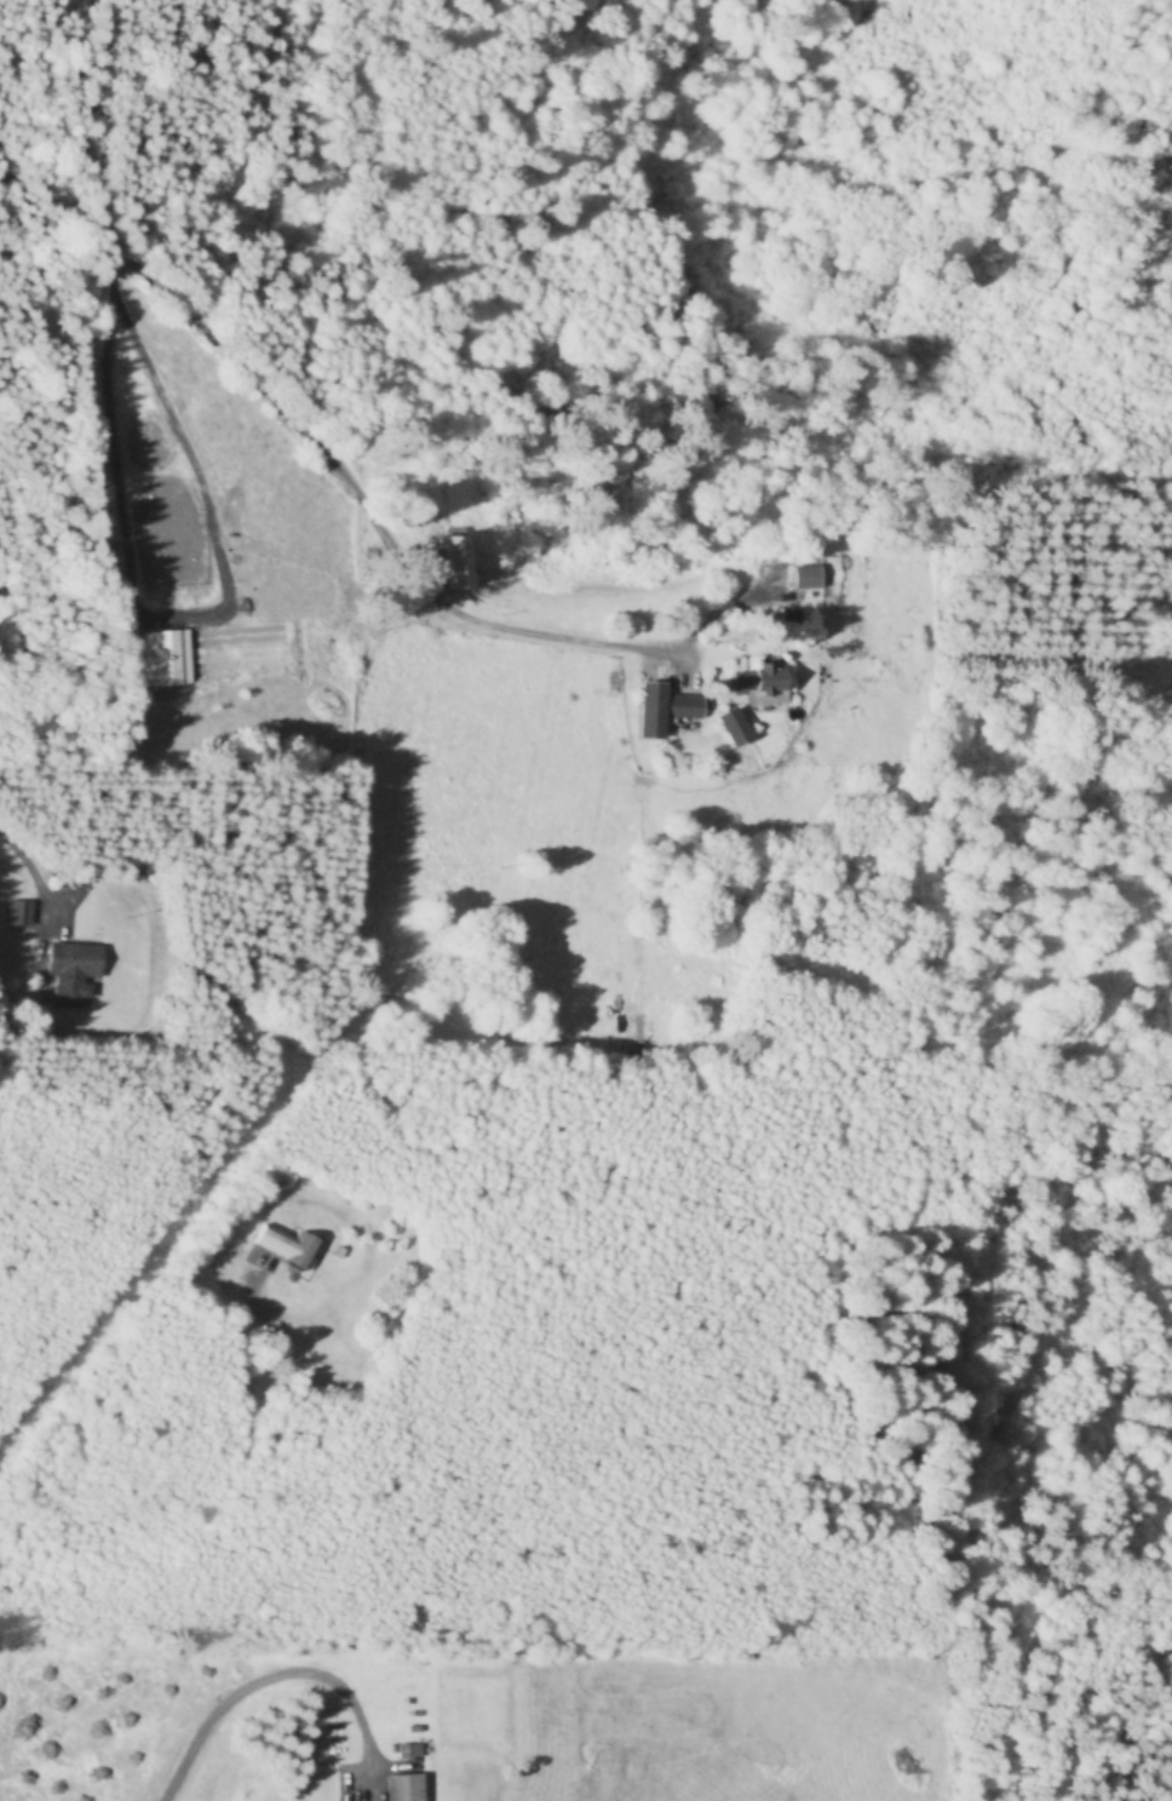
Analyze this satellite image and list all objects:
building: (459, 561)
building: (769, 686)
building: (685, 710)
building: (651, 711)
building: (21, 914)
building: (73, 971)
building: (288, 1247)
road: (257, 1675)
building: (406, 1788)

